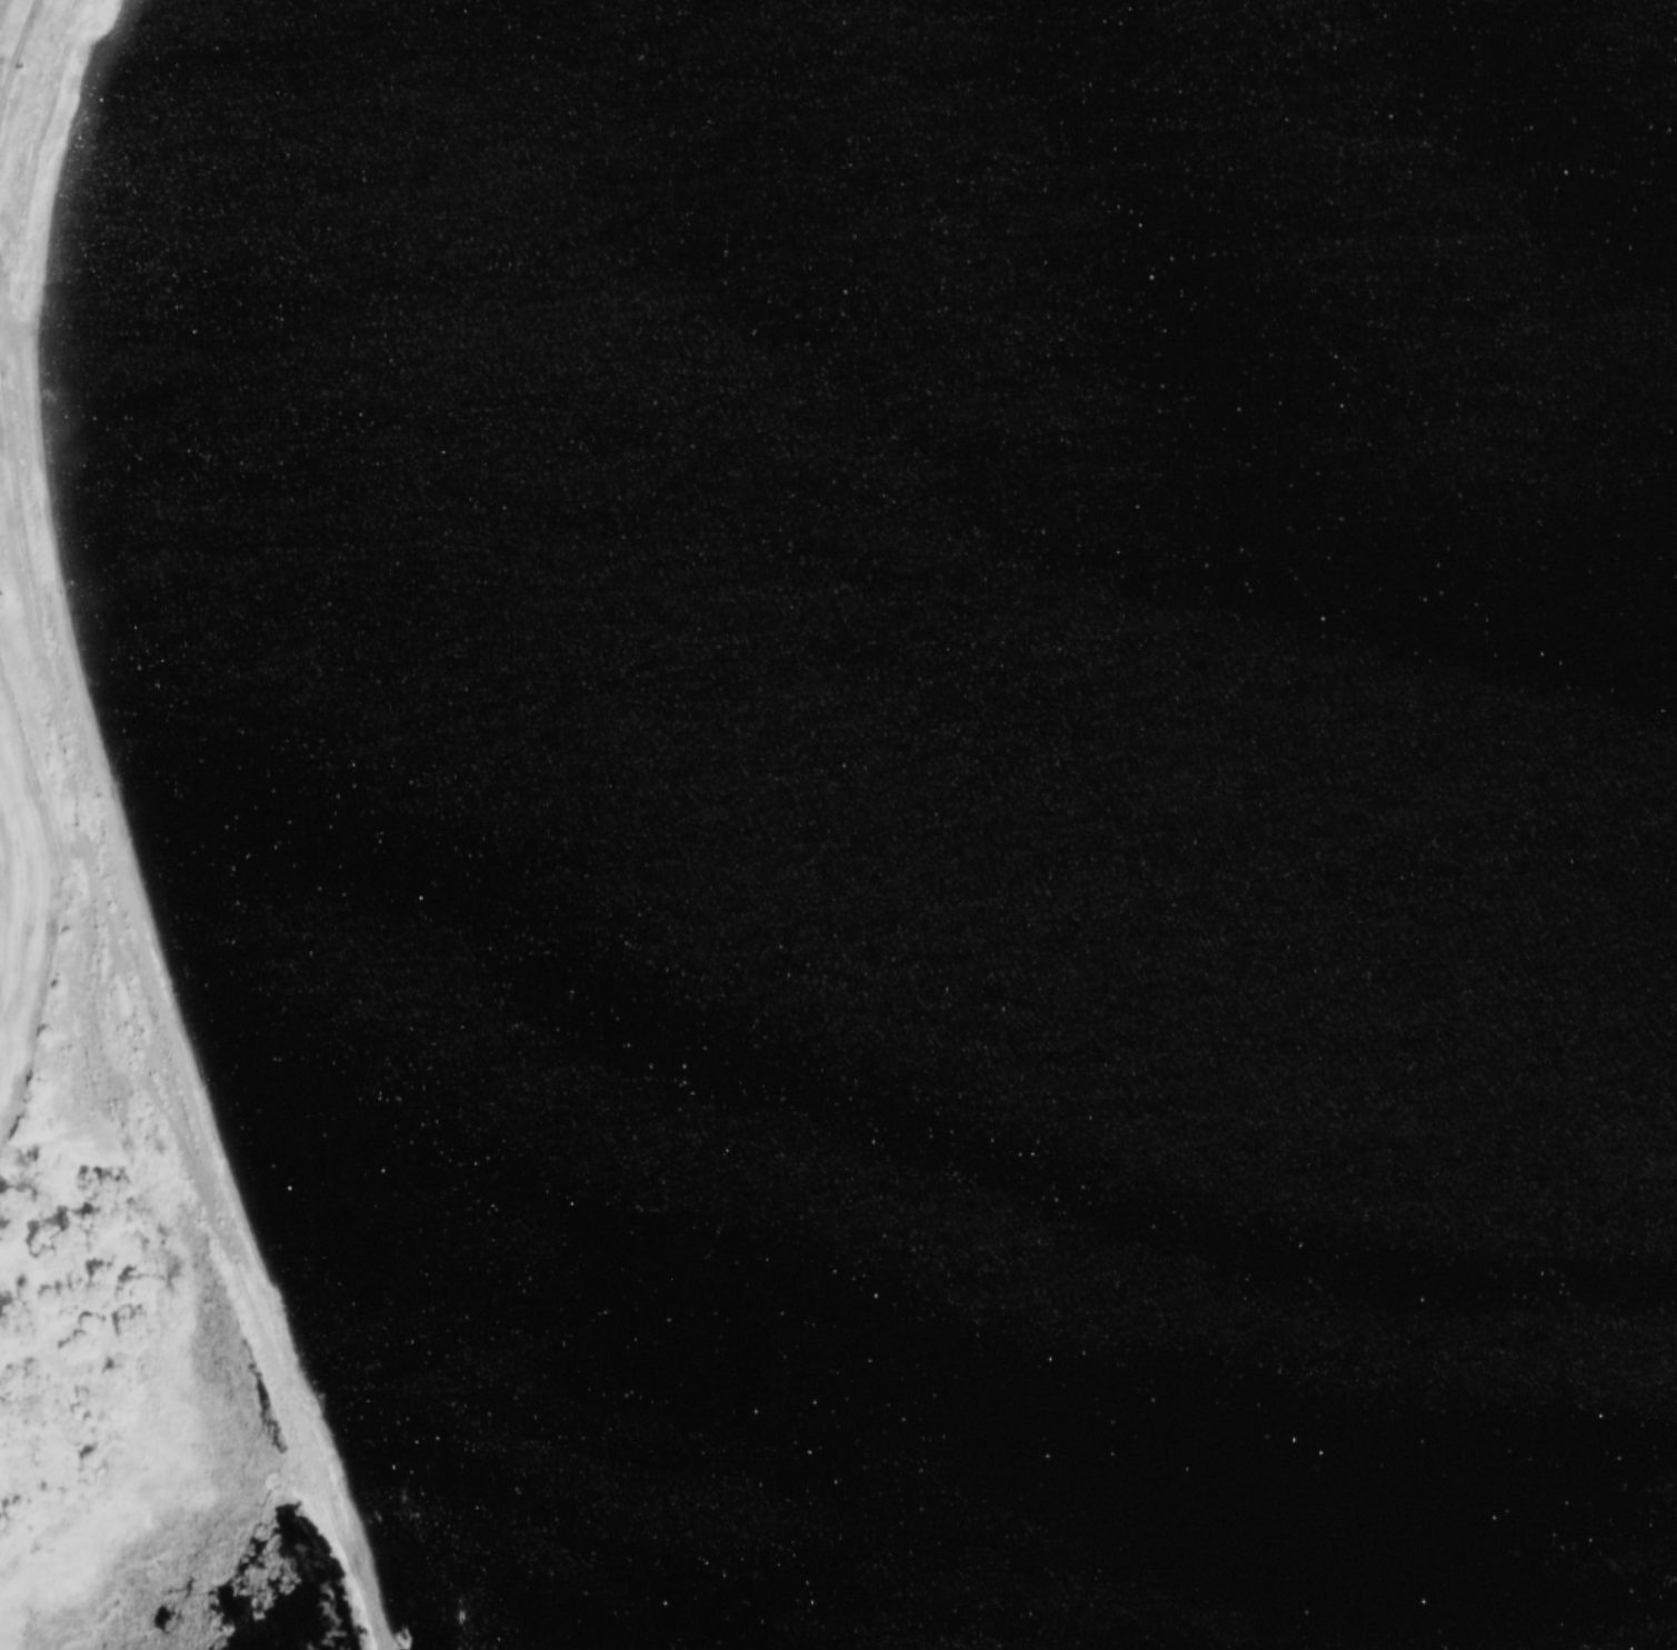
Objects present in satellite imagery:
road: (10, 307)
road: (116, 836)

